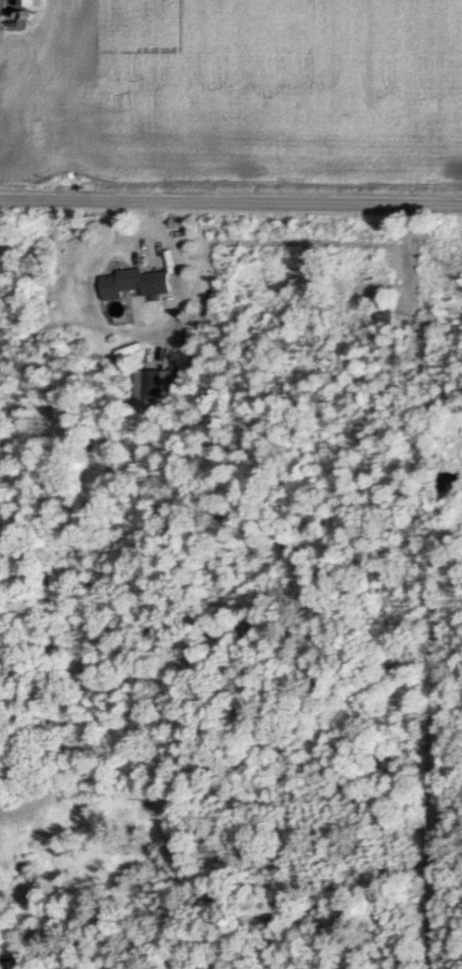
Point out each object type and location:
building: (32, 3)
road: (231, 205)
building: (384, 279)
building: (141, 285)

